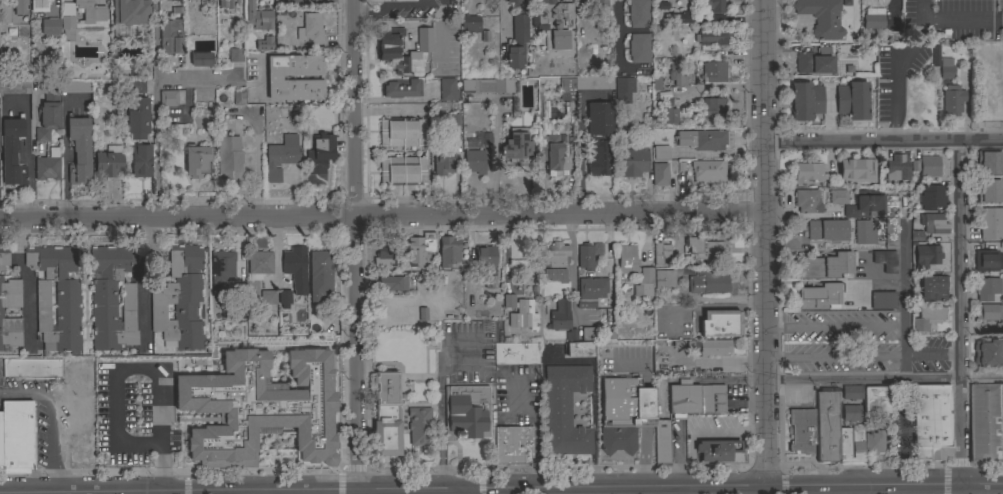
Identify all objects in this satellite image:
building: (391, 0)
building: (203, 2)
building: (515, 2)
building: (543, 2)
building: (227, 3)
building: (599, 3)
building: (39, 5)
building: (712, 5)
building: (20, 9)
building: (558, 10)
building: (130, 11)
building: (638, 13)
building: (5, 15)
road: (502, 16)
building: (258, 17)
building: (821, 17)
building: (680, 18)
building: (710, 18)
building: (537, 19)
building: (873, 21)
building: (67, 22)
building: (601, 22)
building: (469, 24)
building: (50, 27)
building: (312, 29)
road: (615, 34)
building: (170, 37)
building: (712, 37)
building: (560, 41)
building: (516, 43)
building: (264, 44)
building: (388, 46)
building: (639, 48)
building: (235, 55)
building: (935, 56)
building: (555, 59)
building: (200, 60)
building: (814, 61)
road: (898, 67)
building: (946, 68)
building: (714, 72)
building: (677, 76)
building: (274, 78)
building: (624, 84)
building: (584, 85)
building: (76, 86)
building: (487, 86)
building: (15, 87)
building: (137, 87)
building: (402, 88)
building: (447, 89)
building: (168, 98)
building: (239, 98)
building: (953, 99)
building: (853, 100)
building: (806, 101)
building: (715, 107)
road: (383, 109)
road: (154, 112)
building: (48, 115)
building: (669, 115)
building: (138, 118)
building: (598, 119)
building: (402, 132)
building: (702, 139)
road: (883, 141)
building: (516, 145)
road: (582, 149)
building: (79, 150)
building: (317, 151)
building: (12, 152)
building: (661, 152)
road: (65, 153)
building: (476, 153)
building: (281, 156)
building: (229, 157)
building: (598, 157)
building: (444, 158)
building: (554, 158)
building: (630, 159)
building: (197, 160)
building: (141, 161)
building: (109, 162)
building: (989, 163)
building: (47, 166)
building: (926, 166)
building: (896, 169)
building: (402, 170)
building: (857, 170)
building: (708, 171)
building: (808, 172)
building: (659, 174)
road: (29, 190)
building: (991, 192)
building: (928, 194)
building: (807, 201)
building: (858, 202)
road: (382, 215)
building: (991, 222)
building: (933, 223)
building: (827, 230)
building: (864, 232)
building: (891, 233)
road: (765, 244)
road: (352, 246)
building: (705, 249)
building: (418, 251)
building: (448, 251)
building: (662, 252)
building: (929, 254)
building: (385, 255)
building: (588, 255)
building: (4, 257)
building: (484, 257)
building: (627, 260)
building: (885, 260)
building: (988, 260)
building: (555, 261)
building: (294, 262)
building: (259, 264)
road: (573, 264)
building: (826, 266)
building: (221, 271)
building: (319, 275)
road: (875, 275)
building: (670, 277)
building: (708, 280)
road: (29, 282)
road: (868, 282)
building: (392, 283)
building: (644, 283)
road: (144, 284)
building: (933, 287)
building: (987, 288)
building: (590, 291)
building: (820, 296)
building: (56, 297)
building: (267, 297)
building: (284, 297)
building: (112, 298)
road: (904, 298)
building: (180, 300)
building: (883, 300)
building: (989, 312)
building: (1, 313)
building: (520, 313)
road: (959, 313)
building: (927, 317)
building: (561, 318)
building: (721, 323)
building: (589, 333)
building: (710, 347)
building: (579, 349)
building: (515, 353)
building: (988, 353)
building: (32, 368)
road: (885, 380)
building: (853, 392)
building: (684, 399)
building: (712, 399)
building: (826, 400)
building: (875, 400)
building: (261, 406)
building: (565, 410)
building: (466, 412)
building: (624, 413)
building: (386, 415)
building: (984, 422)
building: (1001, 422)
road: (50, 423)
building: (931, 423)
building: (420, 426)
road: (439, 429)
building: (801, 430)
building: (17, 436)
building: (827, 438)
road: (130, 440)
building: (1, 441)
building: (874, 441)
building: (662, 443)
building: (857, 443)
building: (513, 447)
building: (719, 452)
building: (81, 454)
road: (982, 486)
road: (865, 488)
road: (562, 490)
road: (718, 491)
road: (813, 491)
road: (465, 492)
road: (547, 492)
road: (650, 492)
road: (666, 492)
road: (222, 493)

